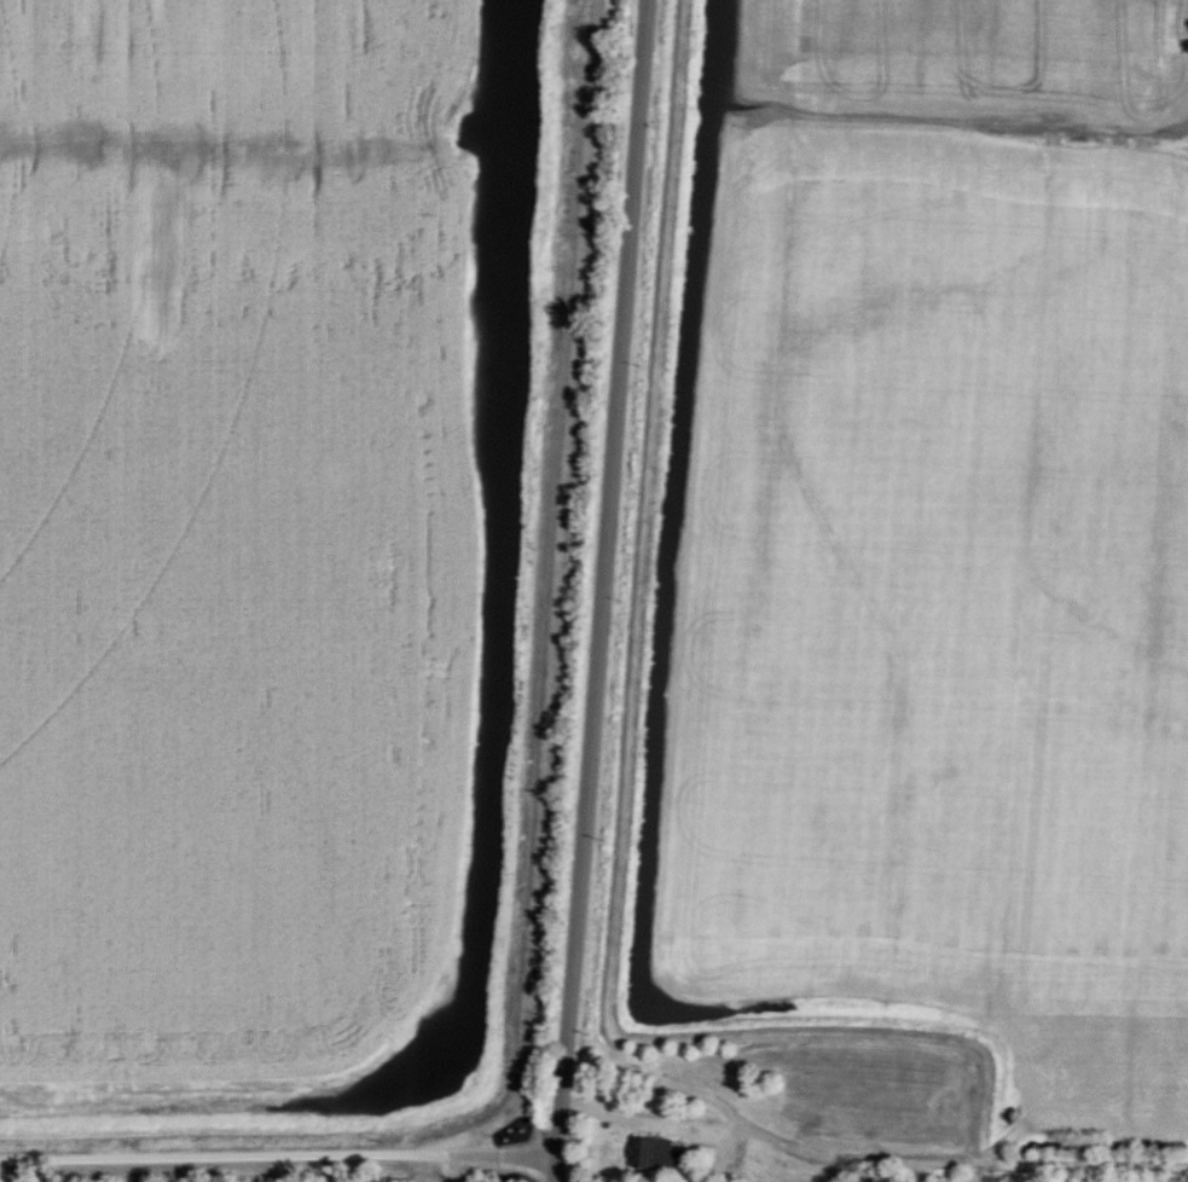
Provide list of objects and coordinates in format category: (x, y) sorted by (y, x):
road: (597, 591)
building: (656, 1154)
road: (277, 1157)

